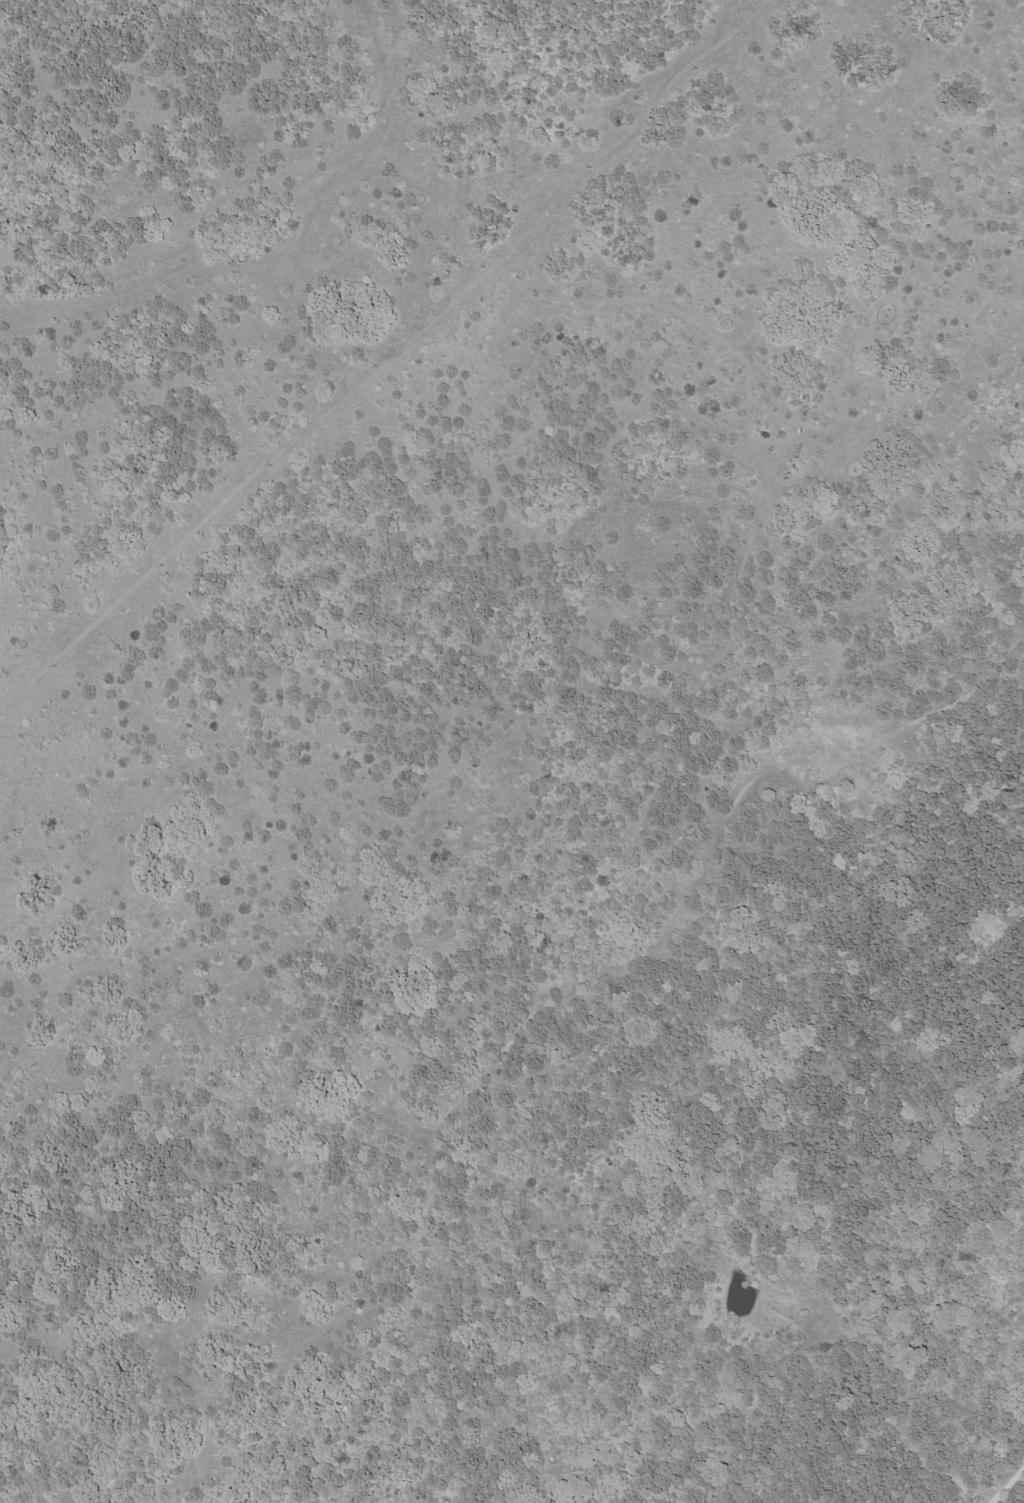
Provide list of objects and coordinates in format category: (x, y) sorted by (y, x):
road: (1005, 1482)

